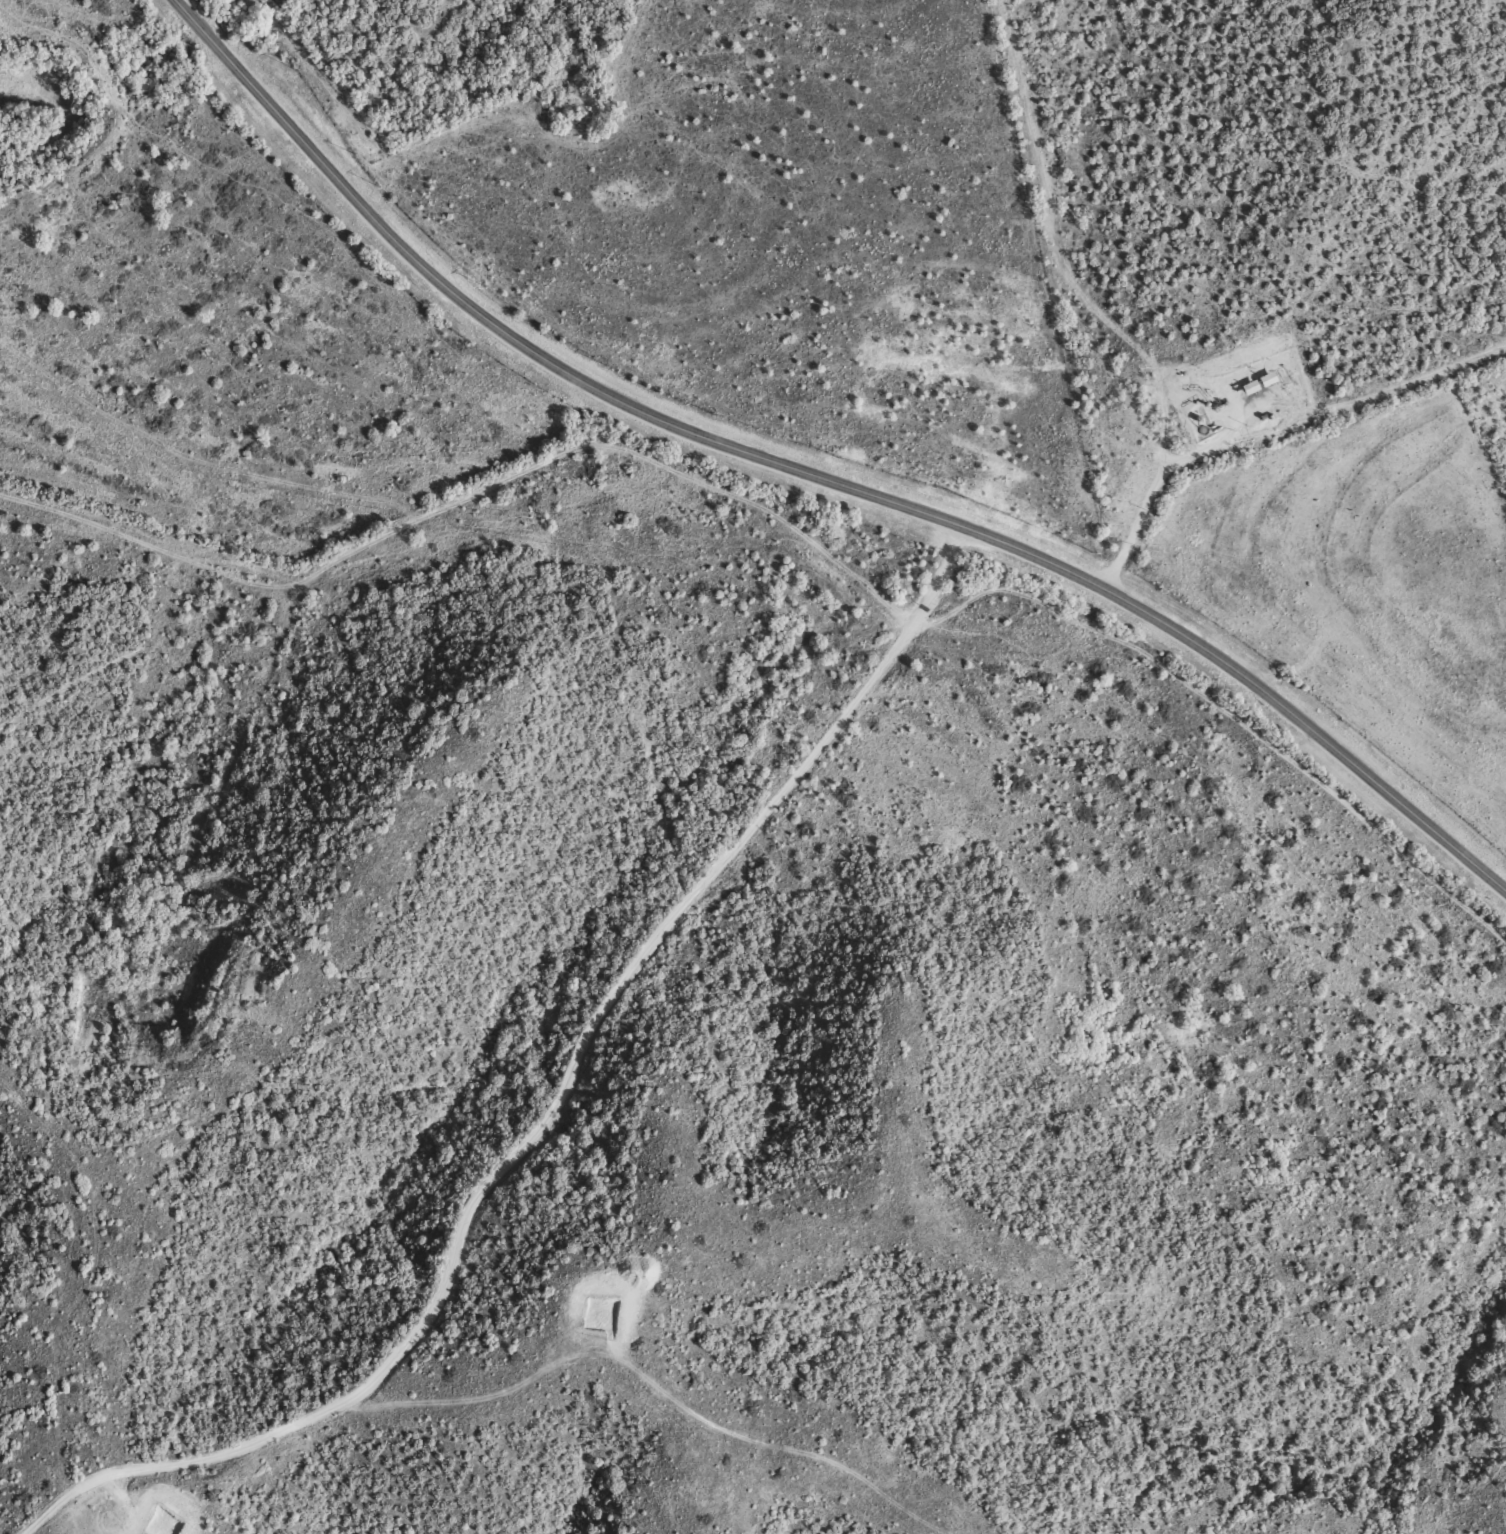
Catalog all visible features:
road: (1100, 284)
road: (816, 477)
road: (1148, 494)
road: (721, 1241)

